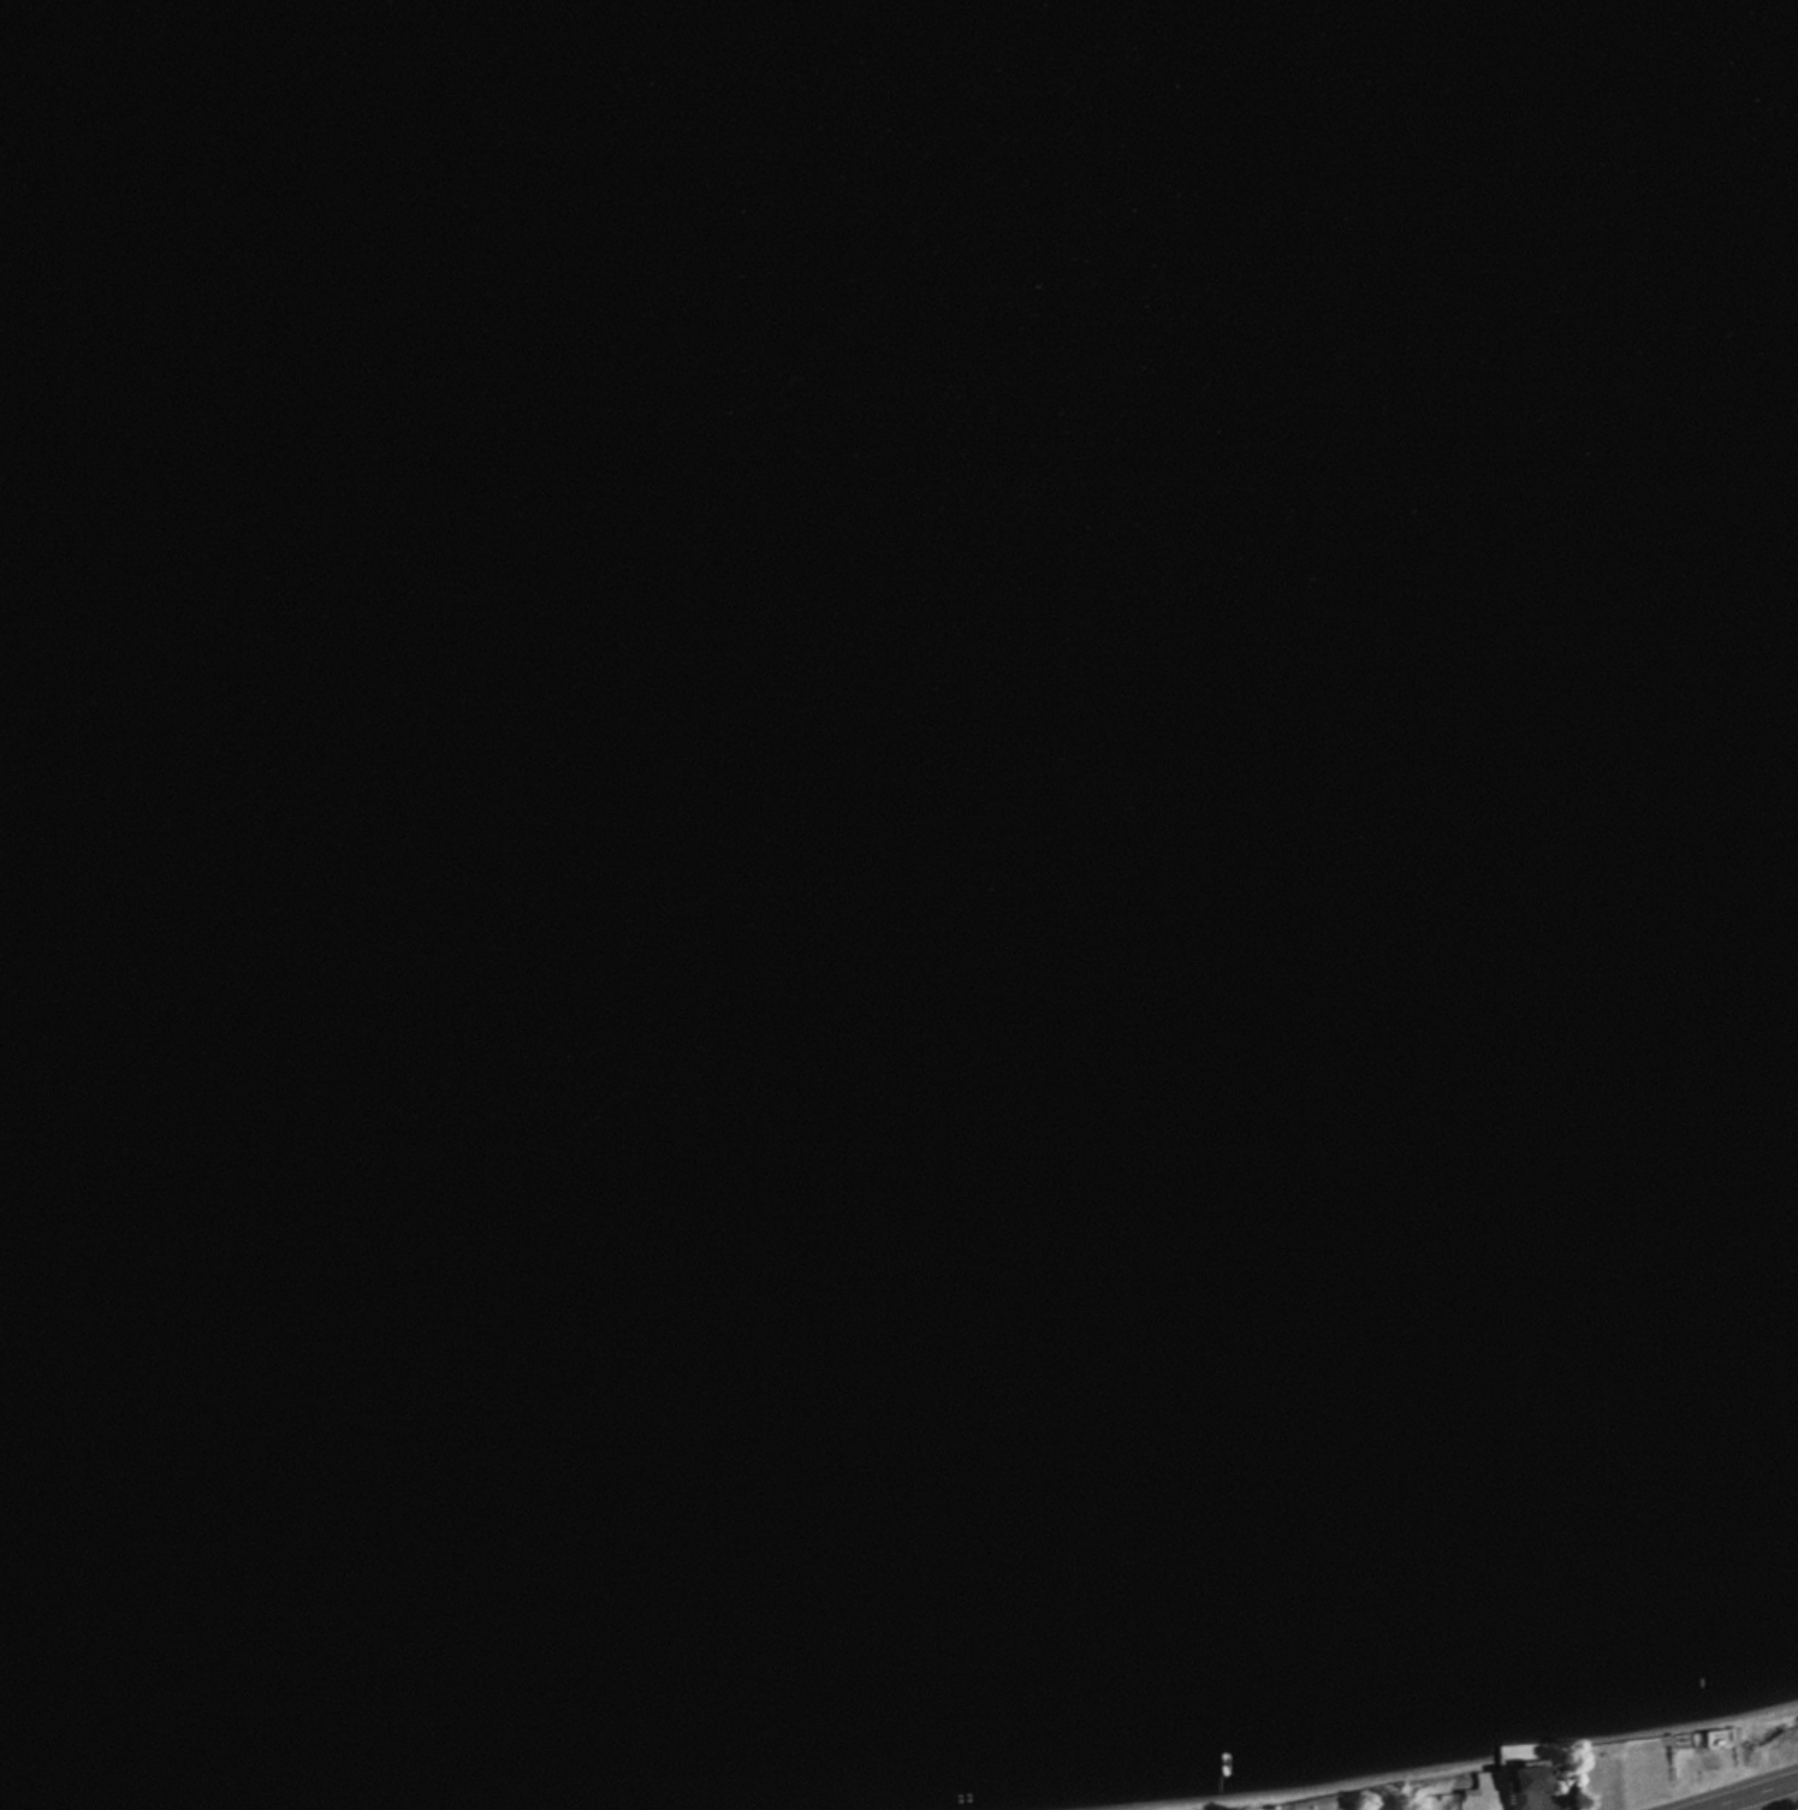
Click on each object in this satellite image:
building: (1720, 1739)
building: (1527, 1785)
road: (1751, 1797)
road: (1720, 1808)

